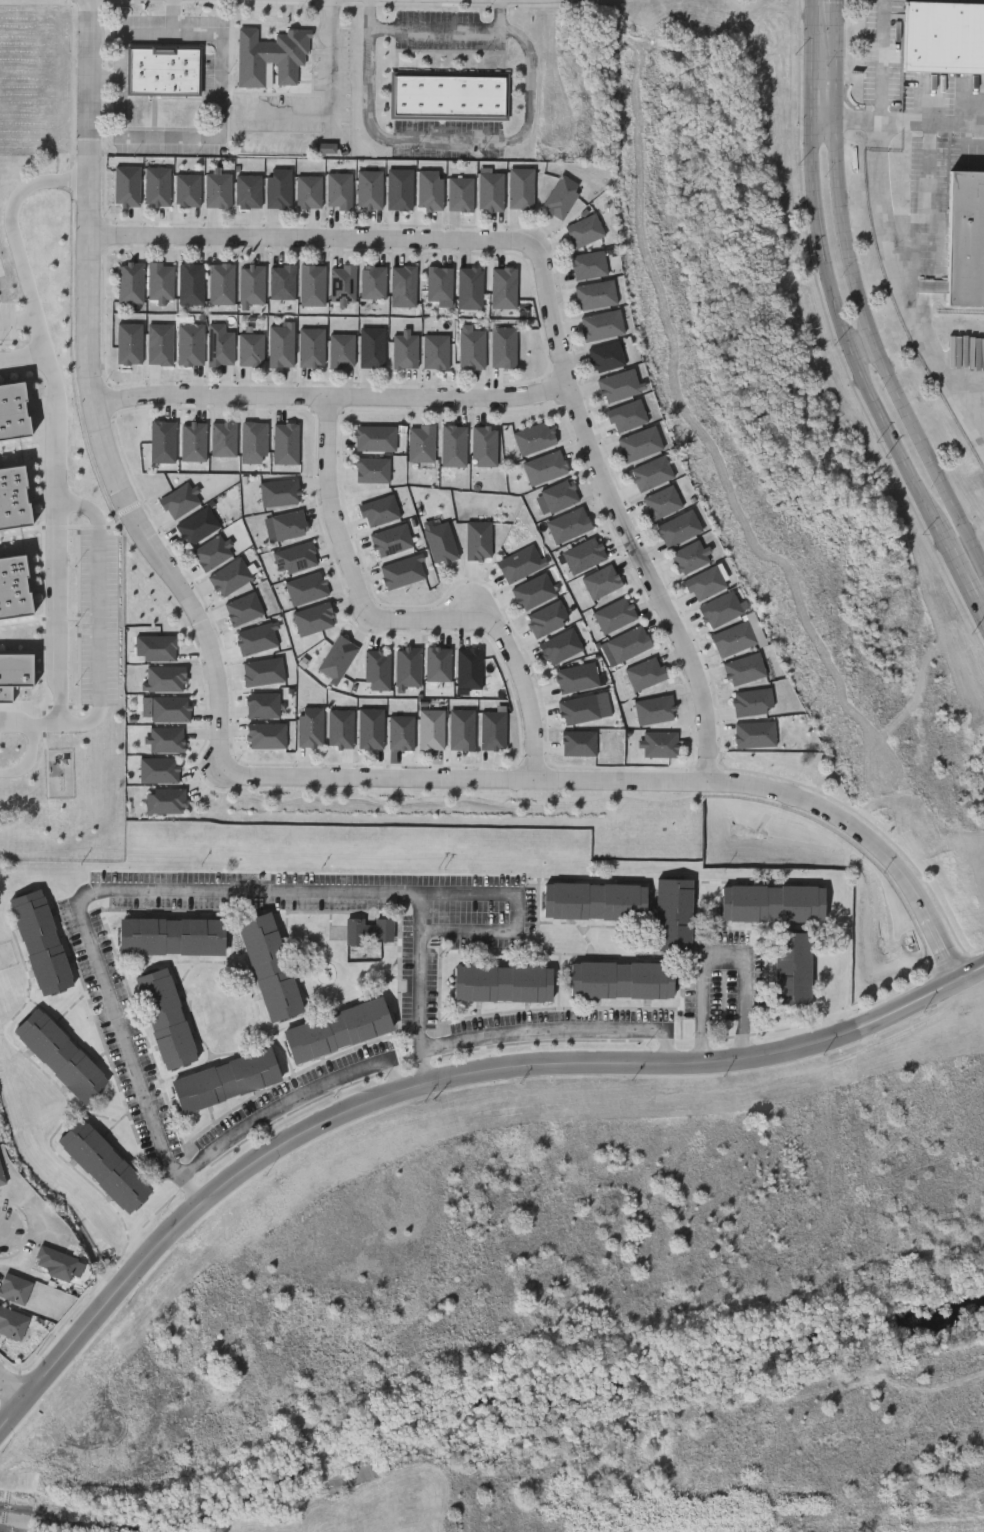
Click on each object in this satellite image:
road: (174, 15)
road: (439, 25)
building: (944, 39)
building: (270, 55)
road: (881, 61)
building: (163, 69)
building: (448, 96)
road: (333, 101)
road: (219, 113)
road: (897, 123)
road: (289, 137)
road: (456, 138)
road: (72, 178)
building: (157, 187)
building: (279, 189)
building: (521, 189)
building: (369, 190)
building: (399, 190)
building: (430, 190)
building: (187, 191)
building: (217, 191)
building: (339, 191)
building: (248, 192)
building: (309, 192)
building: (491, 192)
building: (460, 195)
building: (561, 197)
building: (584, 231)
building: (965, 239)
building: (589, 266)
road: (23, 270)
building: (160, 281)
building: (281, 282)
building: (373, 282)
building: (130, 283)
building: (221, 284)
building: (342, 284)
building: (439, 284)
building: (470, 284)
building: (190, 285)
building: (251, 285)
building: (312, 286)
building: (403, 286)
building: (504, 289)
road: (903, 294)
road: (858, 295)
building: (596, 296)
road: (551, 305)
railway: (961, 311)
road: (19, 319)
building: (602, 326)
road: (841, 326)
building: (129, 344)
building: (160, 345)
building: (190, 345)
building: (281, 346)
building: (311, 347)
building: (371, 348)
building: (471, 348)
building: (503, 348)
building: (220, 349)
road: (863, 349)
building: (250, 350)
building: (341, 350)
building: (404, 350)
building: (435, 352)
building: (606, 357)
building: (619, 386)
road: (332, 398)
building: (627, 417)
building: (374, 438)
building: (534, 438)
building: (223, 440)
building: (162, 442)
building: (193, 442)
building: (253, 443)
building: (286, 444)
building: (421, 444)
building: (639, 444)
building: (453, 446)
building: (484, 447)
building: (544, 468)
building: (371, 471)
building: (651, 474)
building: (559, 496)
building: (662, 503)
building: (568, 525)
building: (679, 529)
building: (584, 556)
building: (689, 558)
road: (55, 561)
building: (601, 582)
building: (705, 584)
road: (106, 609)
building: (721, 609)
building: (614, 615)
road: (402, 623)
building: (734, 638)
building: (628, 644)
building: (744, 668)
building: (645, 673)
building: (752, 701)
building: (654, 709)
building: (754, 733)
building: (659, 743)
road: (35, 752)
road: (236, 773)
road: (132, 895)
building: (595, 899)
building: (774, 902)
building: (674, 913)
building: (369, 929)
road: (482, 930)
building: (172, 935)
building: (40, 939)
road: (723, 957)
building: (270, 965)
building: (793, 966)
building: (621, 978)
building: (503, 981)
road: (416, 989)
building: (166, 1016)
building: (338, 1028)
road: (557, 1028)
building: (60, 1053)
building: (226, 1079)
road: (436, 1080)
road: (293, 1097)
building: (104, 1164)
building: (1, 1178)
building: (53, 1261)
building: (14, 1287)
building: (12, 1321)
road: (12, 1384)

